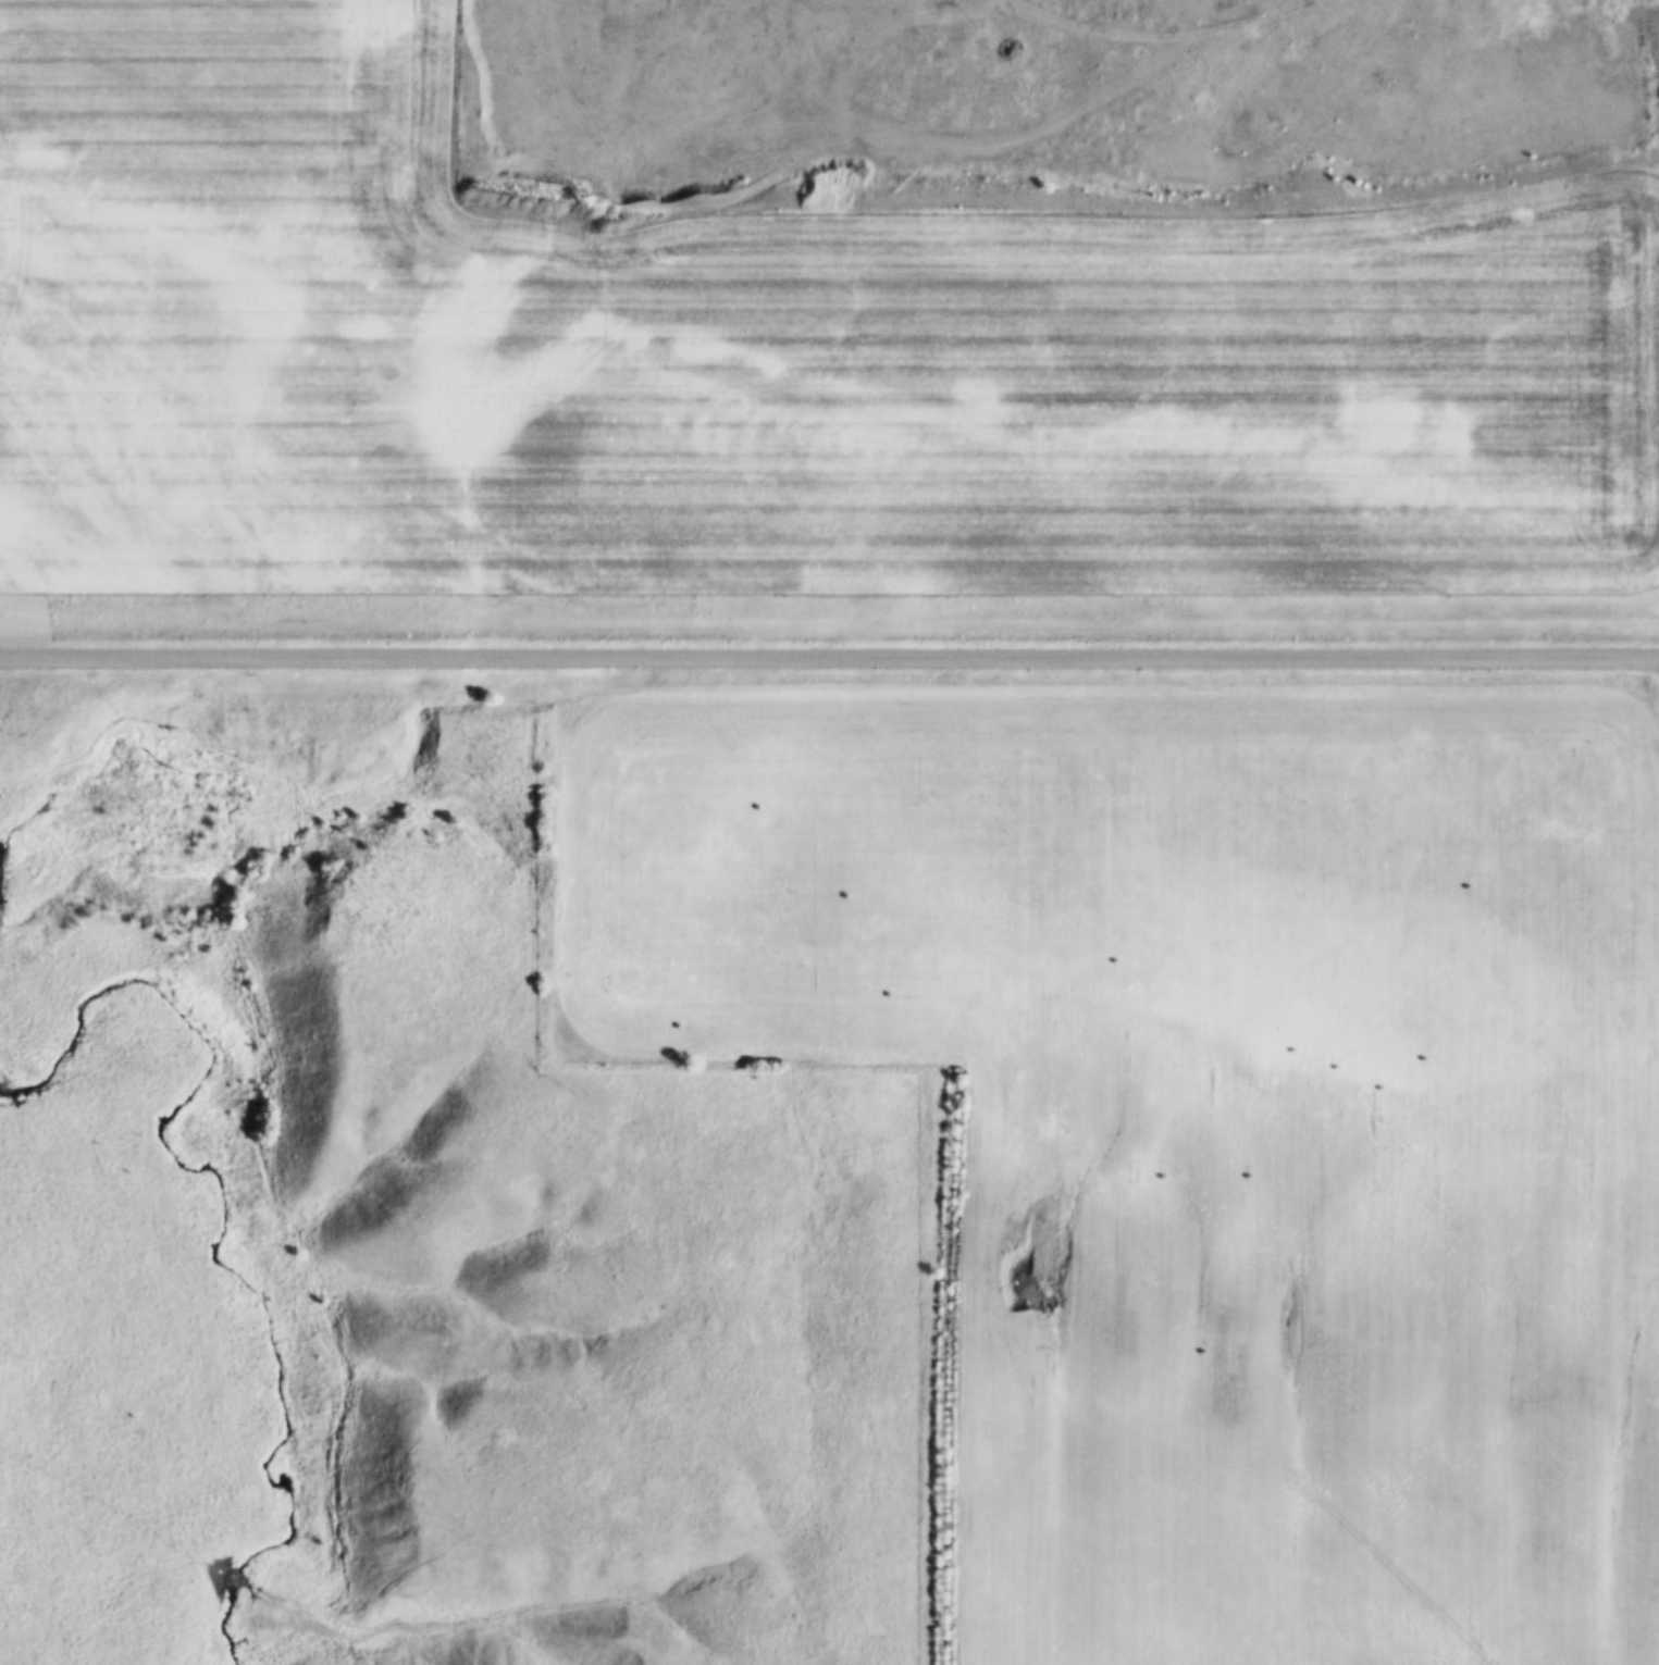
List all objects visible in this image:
road: (1382, 24)
quarry: (1039, 102)
road: (829, 653)

